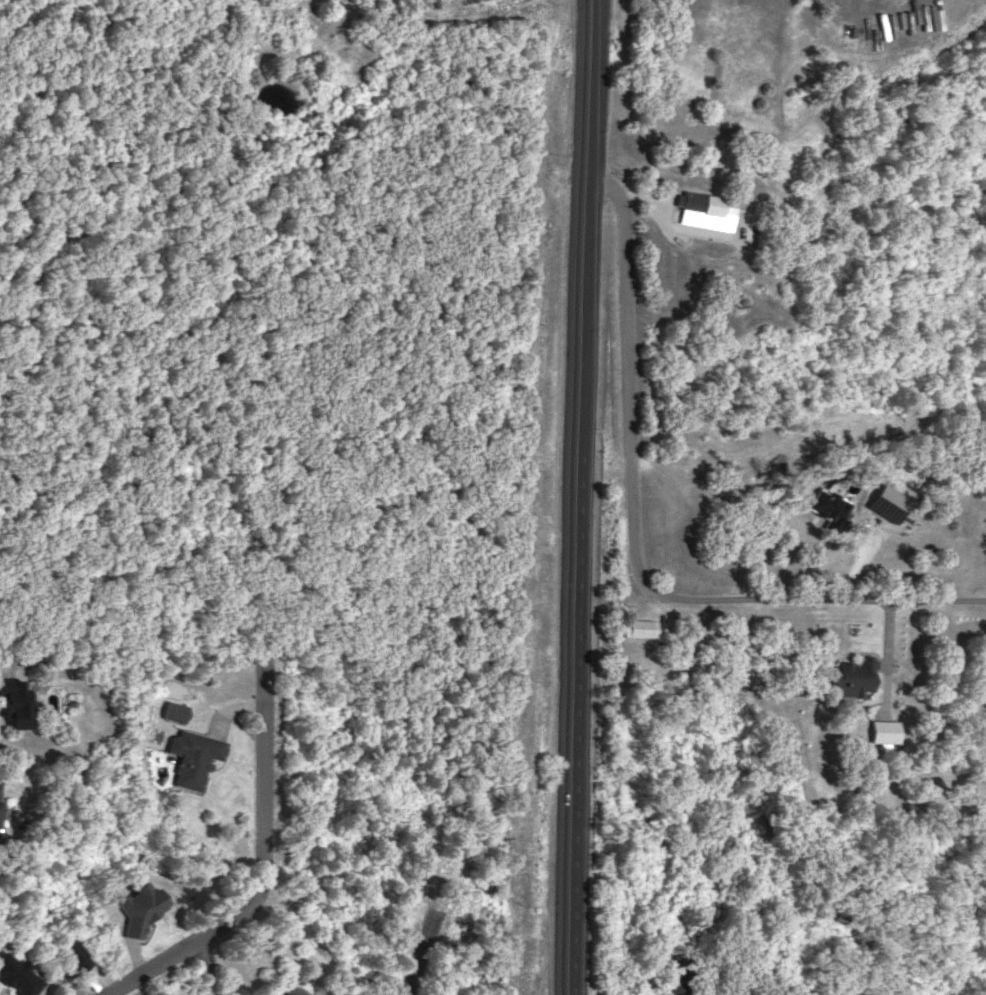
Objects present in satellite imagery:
road: (593, 21)
building: (699, 207)
building: (886, 501)
building: (827, 507)
road: (583, 519)
road: (633, 549)
building: (637, 627)
building: (853, 675)
building: (13, 702)
building: (173, 710)
building: (883, 730)
building: (190, 756)
road: (262, 849)
building: (137, 909)
building: (75, 953)
road: (417, 960)
building: (680, 973)
building: (17, 975)
road: (132, 980)

